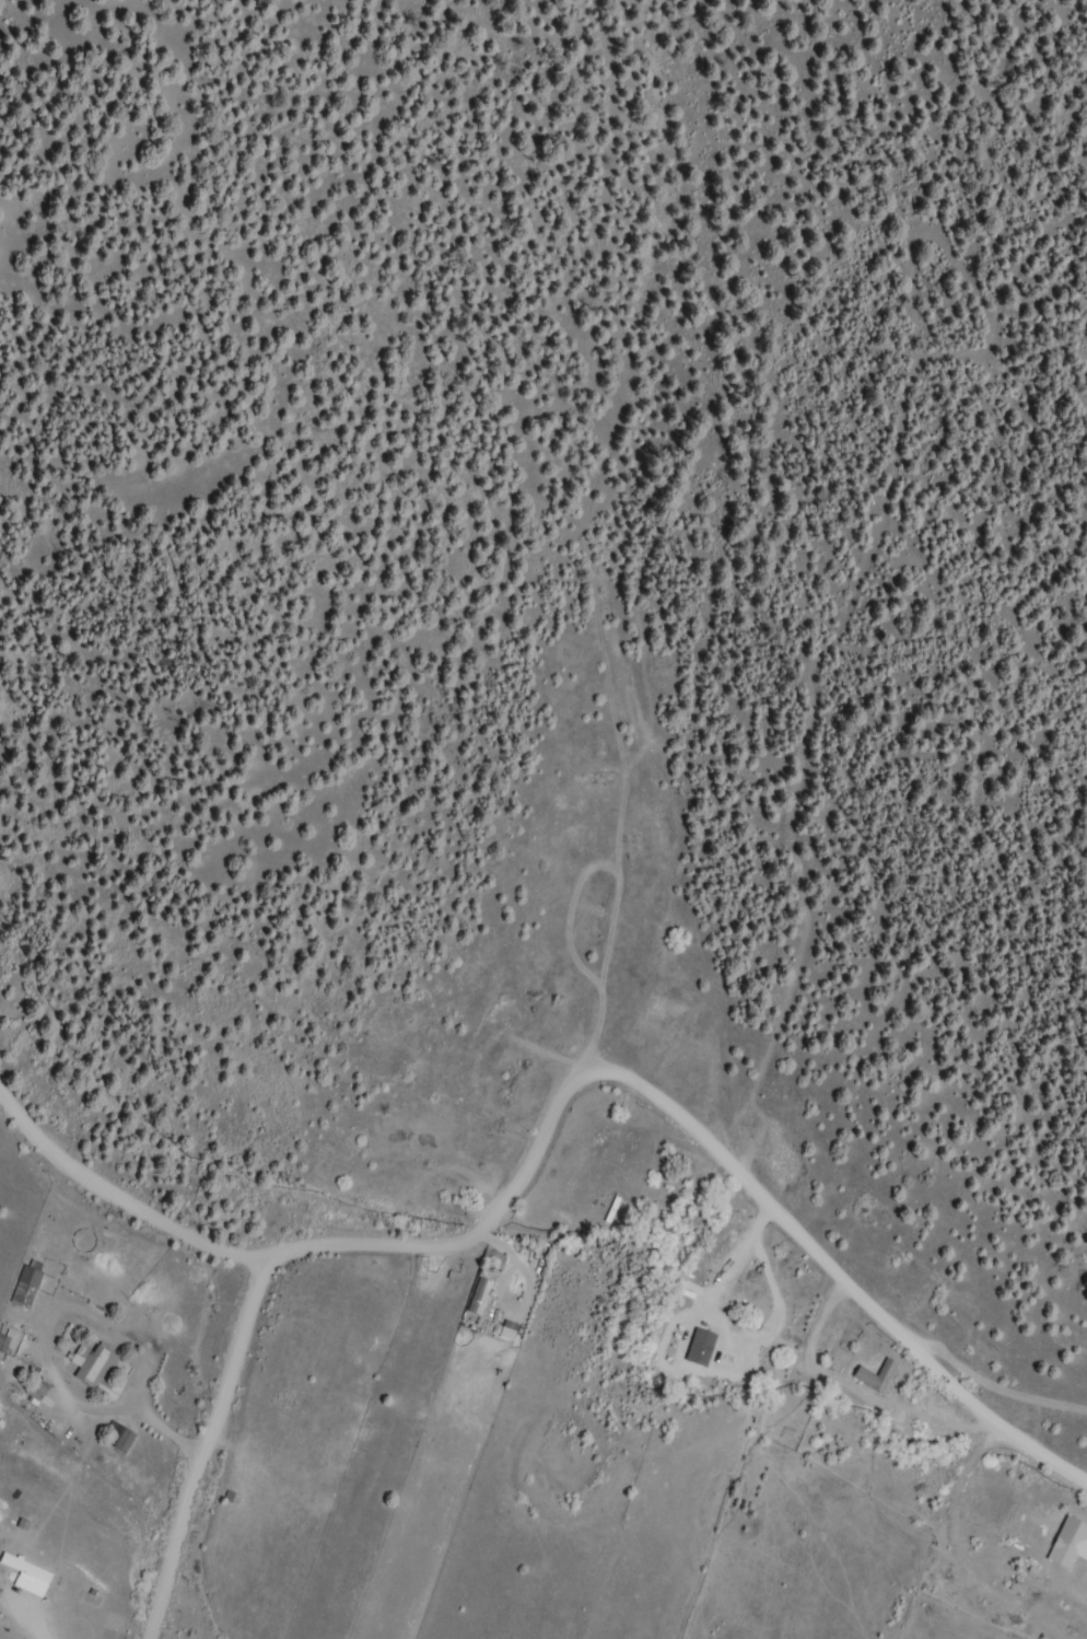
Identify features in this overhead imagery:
road: (896, 1056)
road: (685, 1097)
road: (686, 1127)
road: (117, 1198)
building: (496, 1257)
building: (30, 1285)
building: (482, 1297)
building: (97, 1367)
building: (879, 1376)
building: (38, 1390)
road: (908, 1406)
building: (124, 1440)
road: (208, 1454)
building: (1071, 1546)

